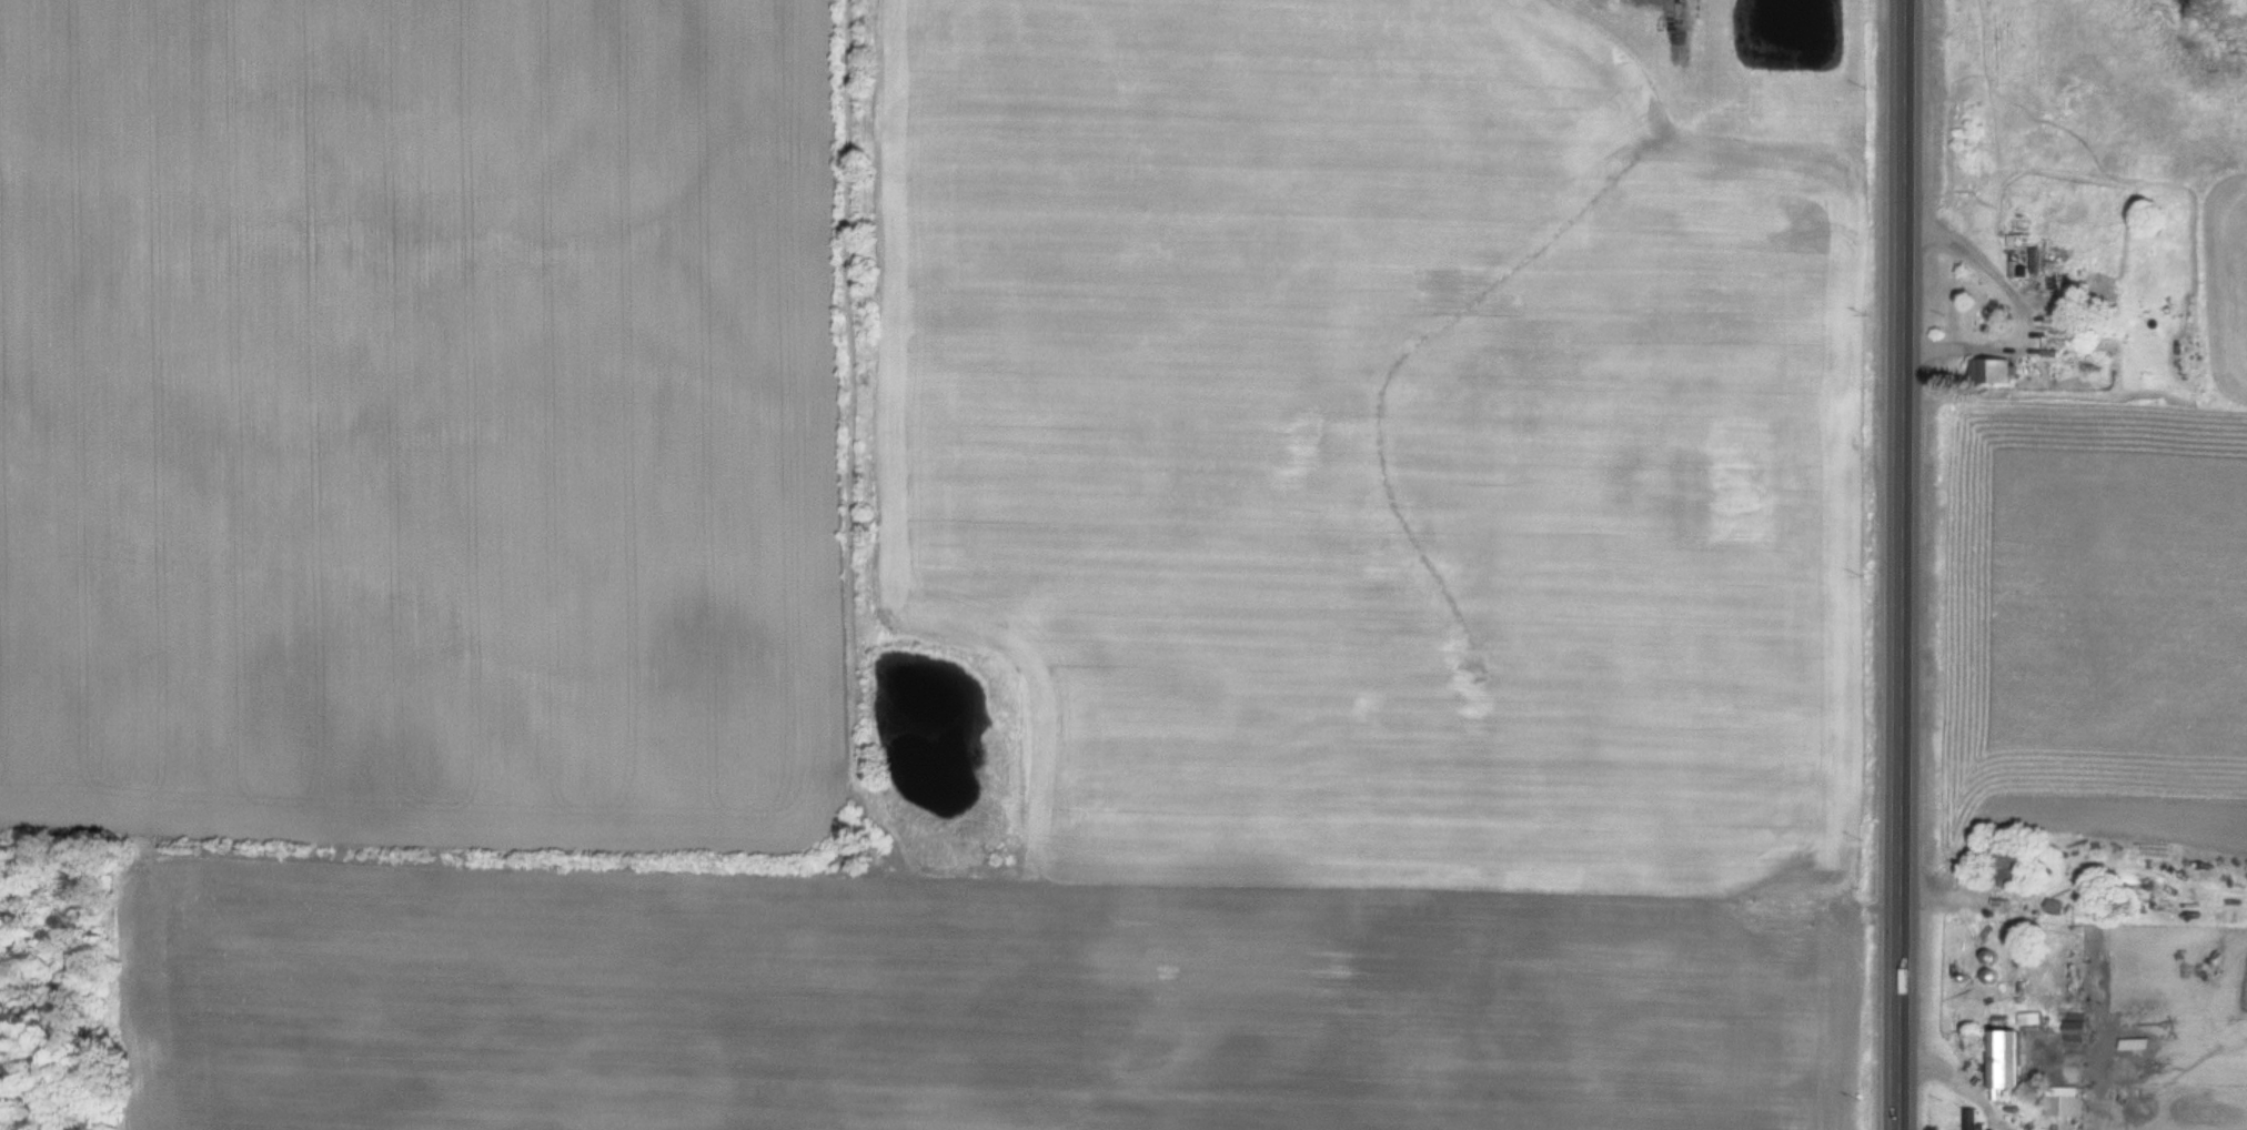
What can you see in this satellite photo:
building: (1989, 370)
road: (1910, 565)
building: (2006, 864)
building: (2130, 1045)
building: (2002, 1060)
building: (2063, 1102)
building: (1972, 1119)

